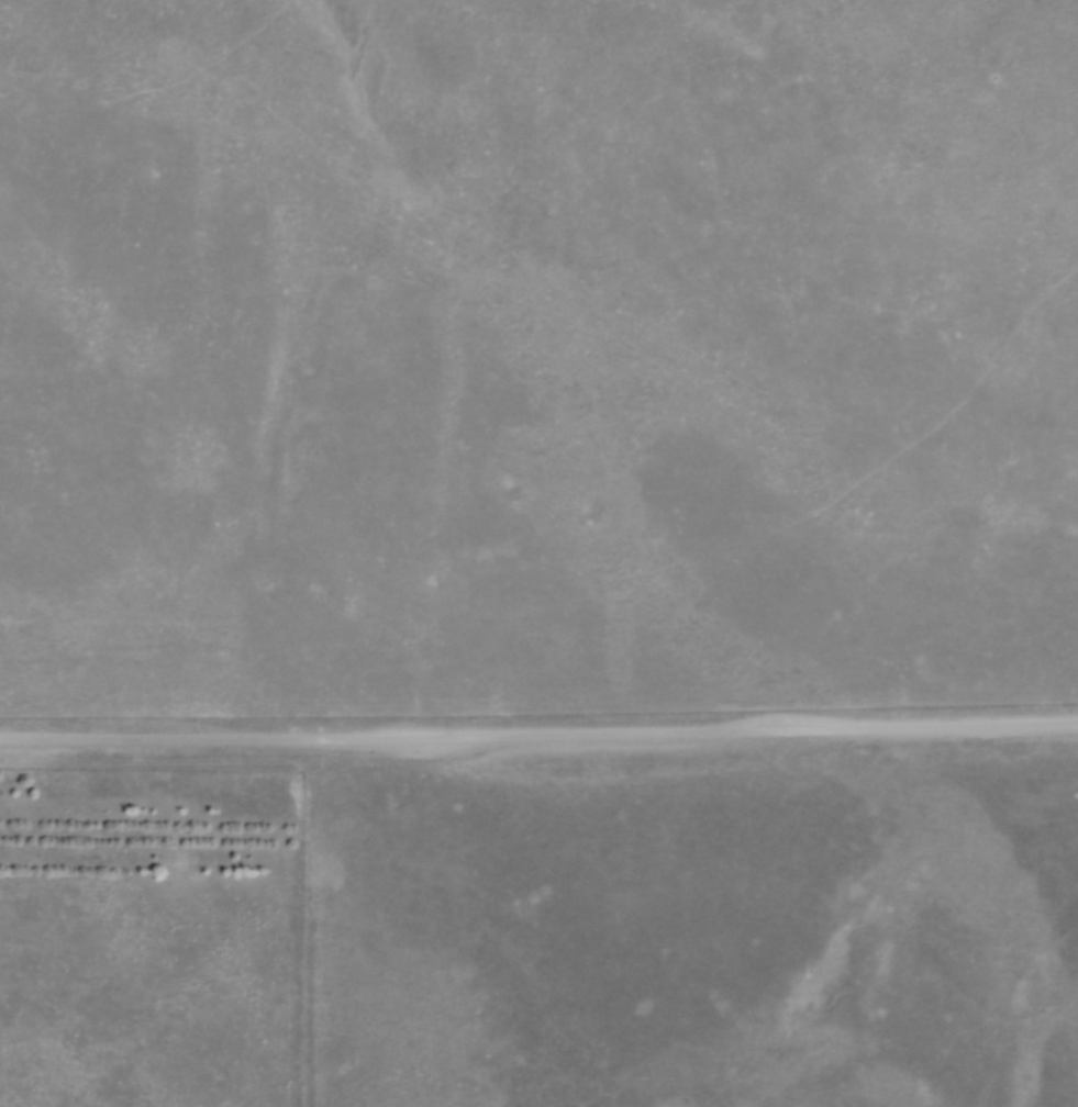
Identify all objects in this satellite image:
road: (538, 735)
crop: (144, 991)

